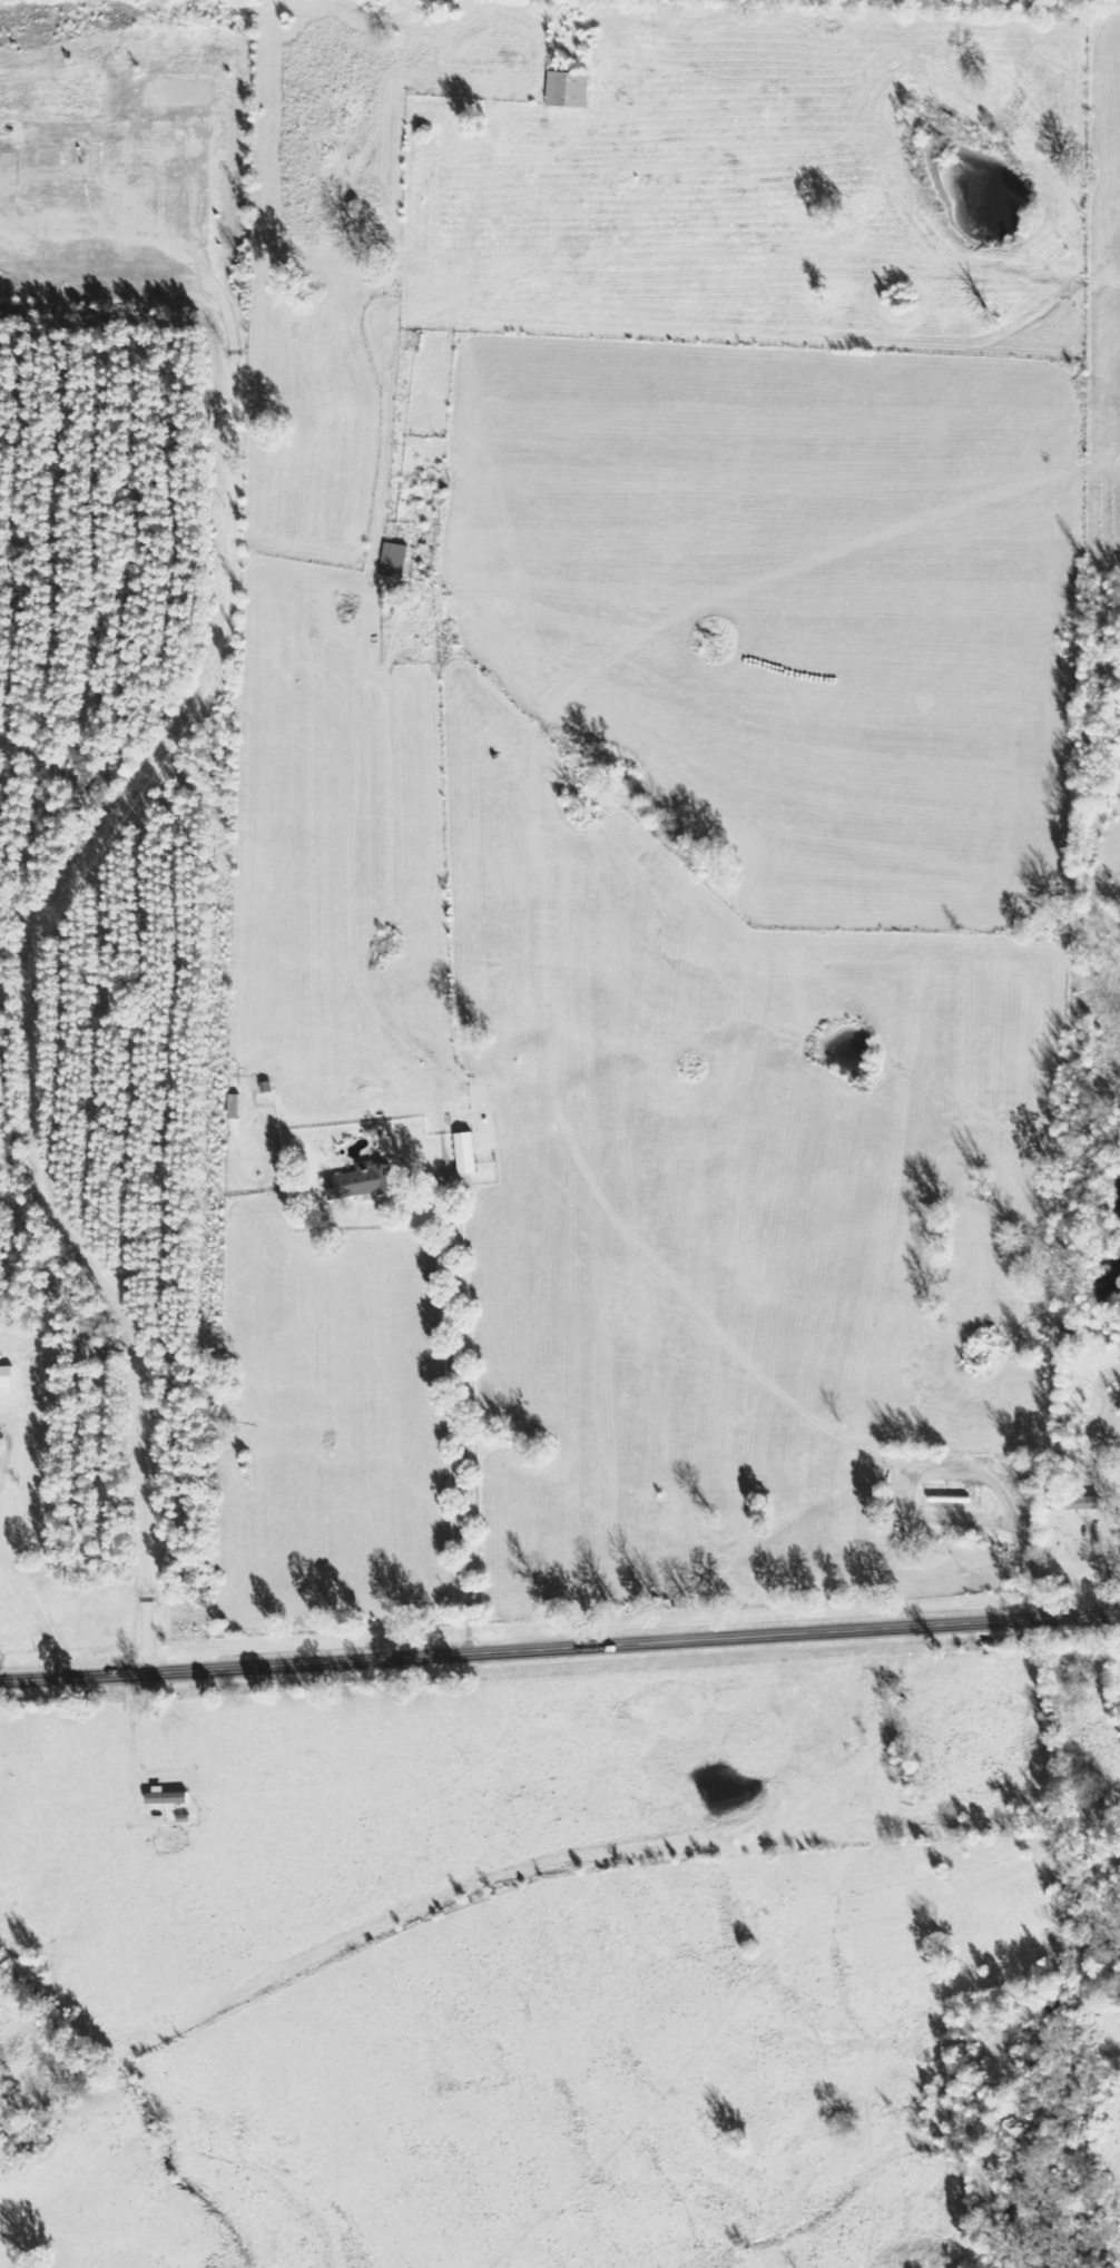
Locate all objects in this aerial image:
building: (568, 88)
building: (395, 560)
building: (234, 1107)
building: (464, 1152)
building: (363, 1182)
building: (7, 1382)
road: (465, 1428)
road: (945, 1466)
building: (1077, 1504)
road: (560, 1648)
building: (169, 1799)

